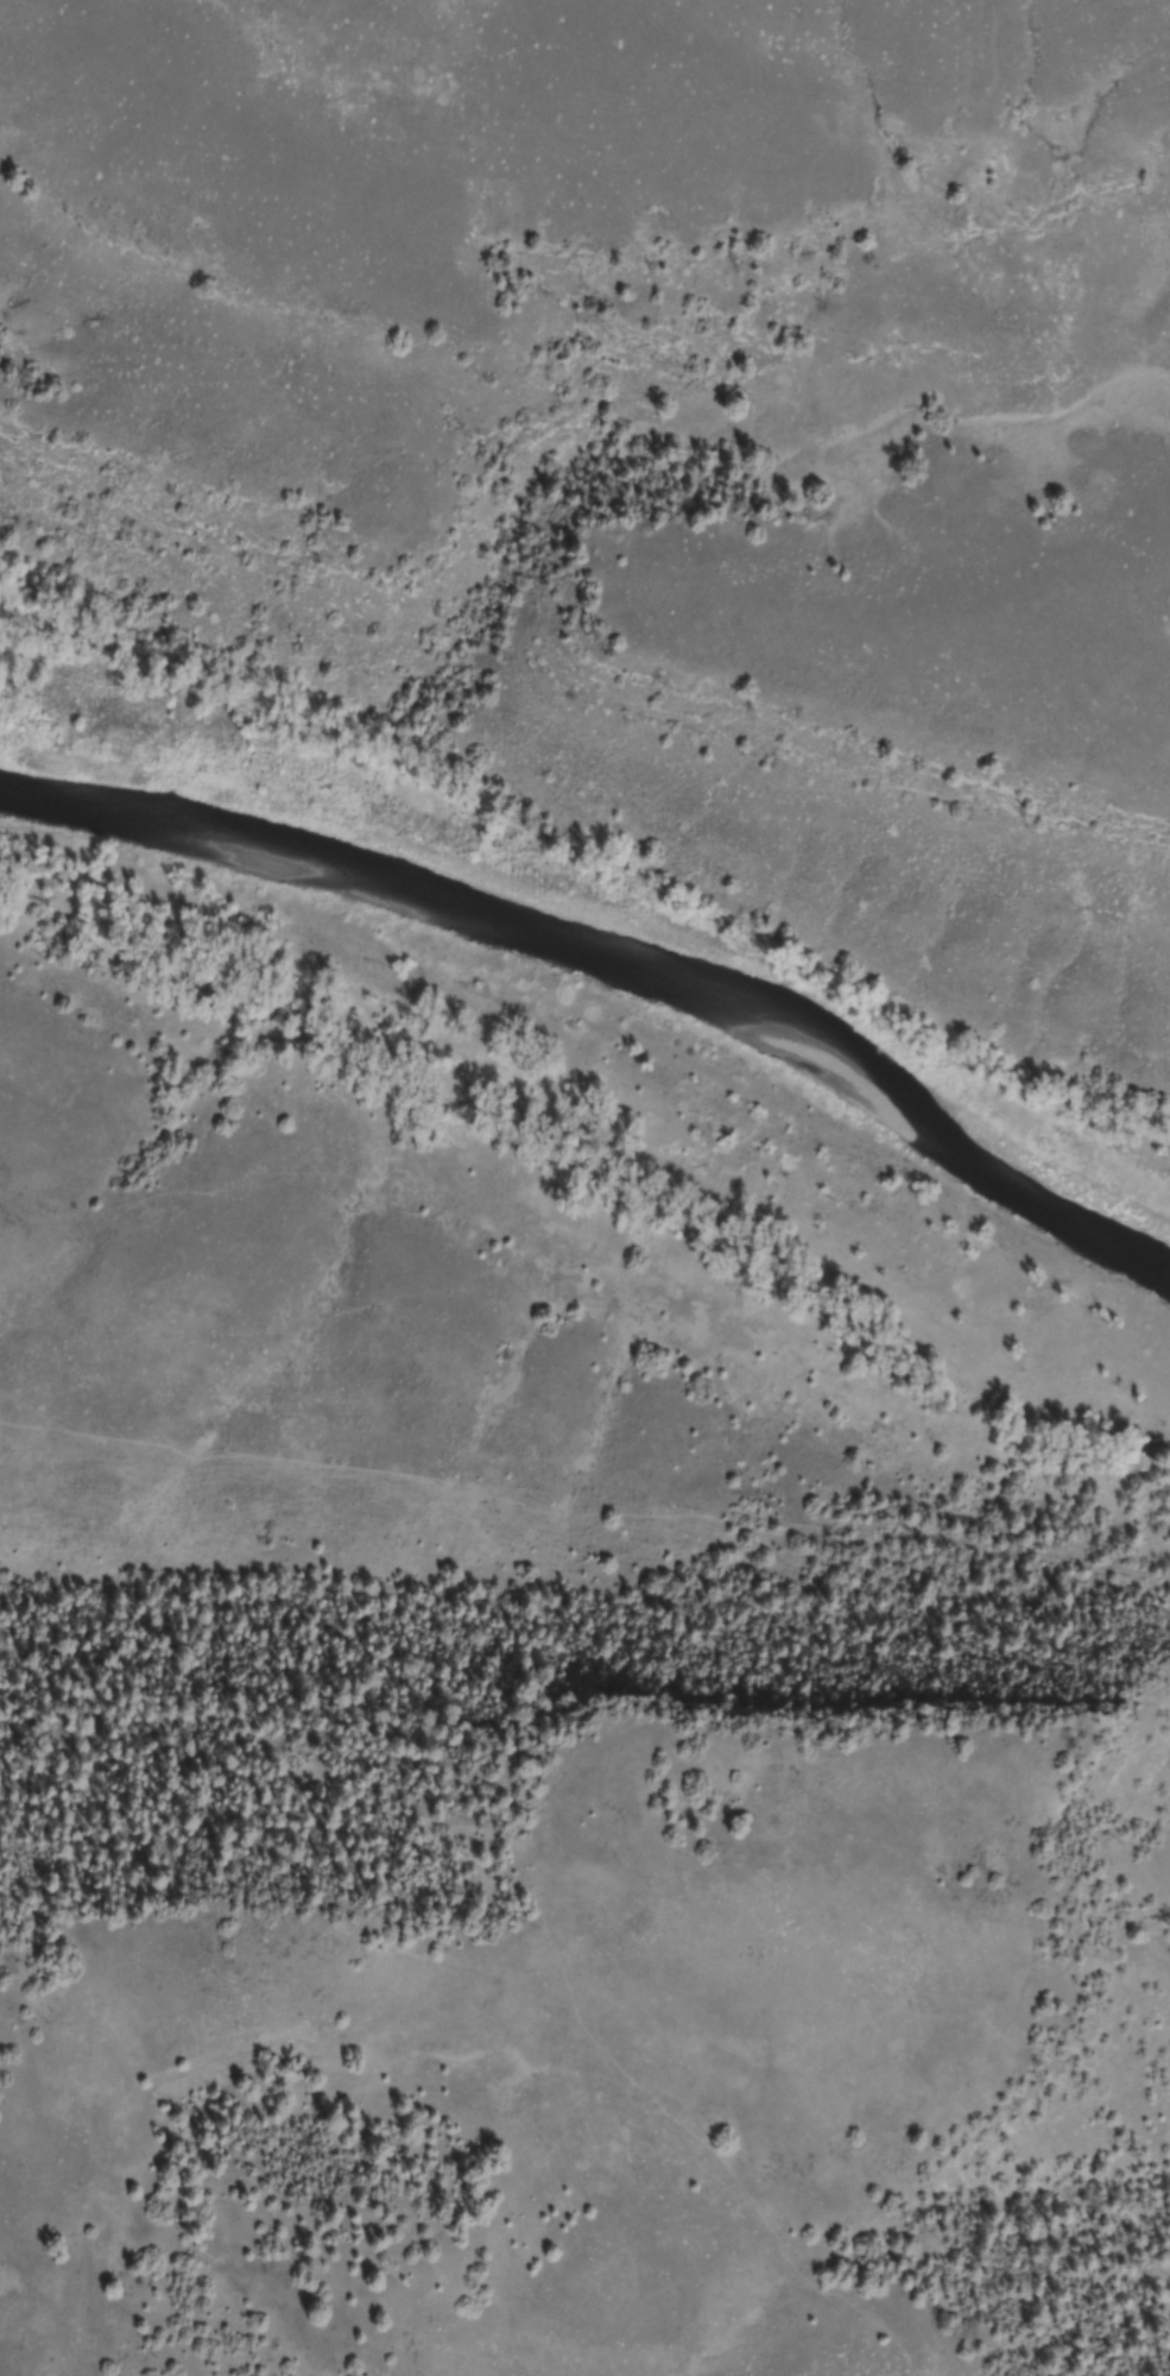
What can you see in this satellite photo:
river: (597, 968)

